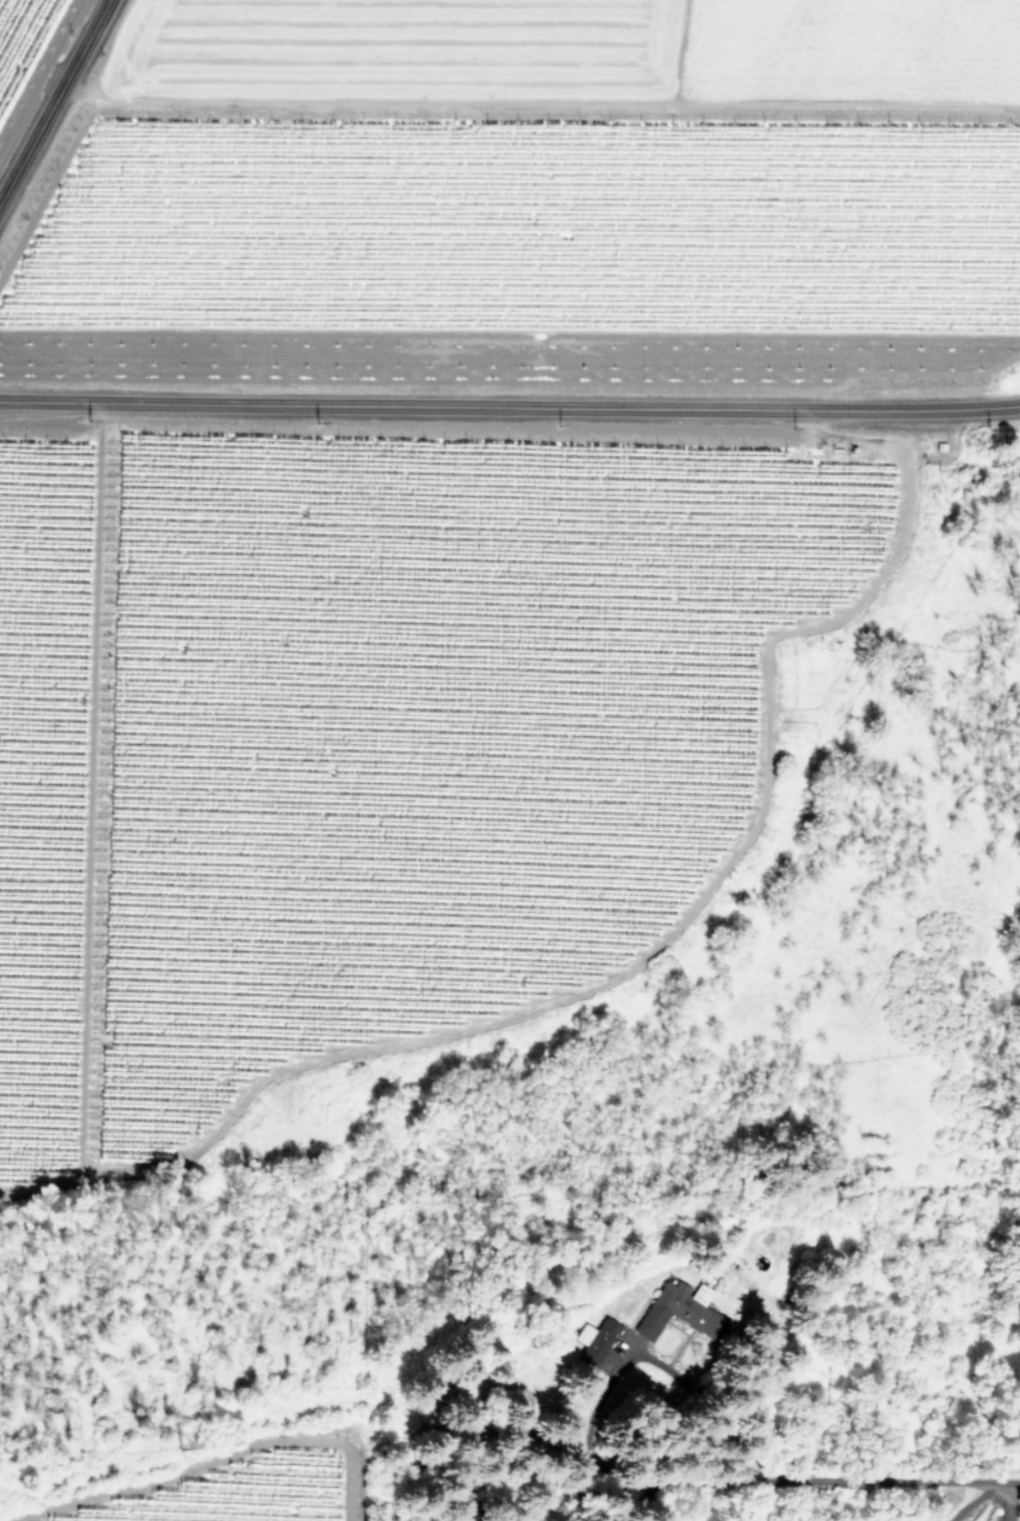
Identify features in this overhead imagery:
crop: (19, 37)
crop: (527, 59)
road: (54, 100)
road: (510, 406)
building: (676, 1310)
building: (597, 1341)
road: (821, 1482)
crop: (304, 1497)
building: (920, 1516)

